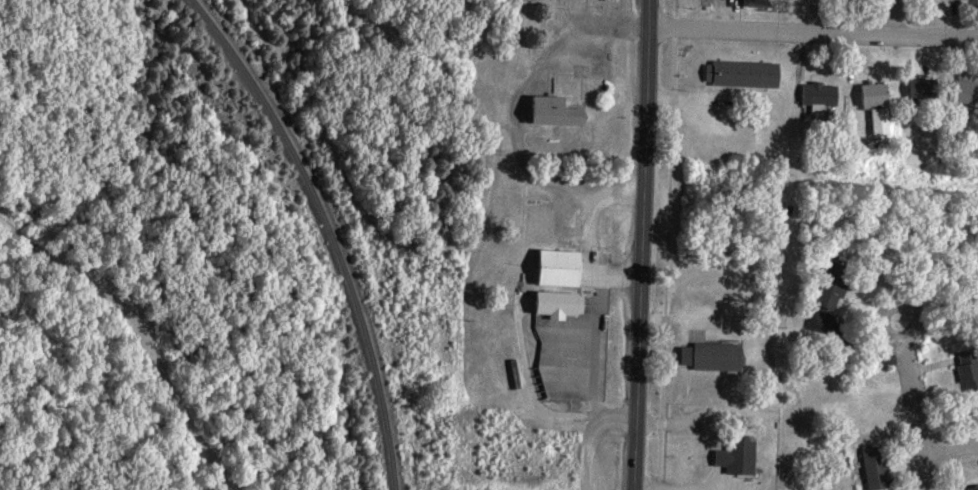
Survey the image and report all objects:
building: (766, 3)
road: (879, 18)
road: (815, 33)
building: (750, 74)
building: (931, 88)
building: (826, 96)
building: (886, 105)
railway: (331, 231)
road: (645, 244)
building: (570, 268)
building: (840, 282)
building: (569, 304)
building: (721, 355)
road: (914, 411)
road: (949, 443)
building: (746, 455)
building: (884, 468)

